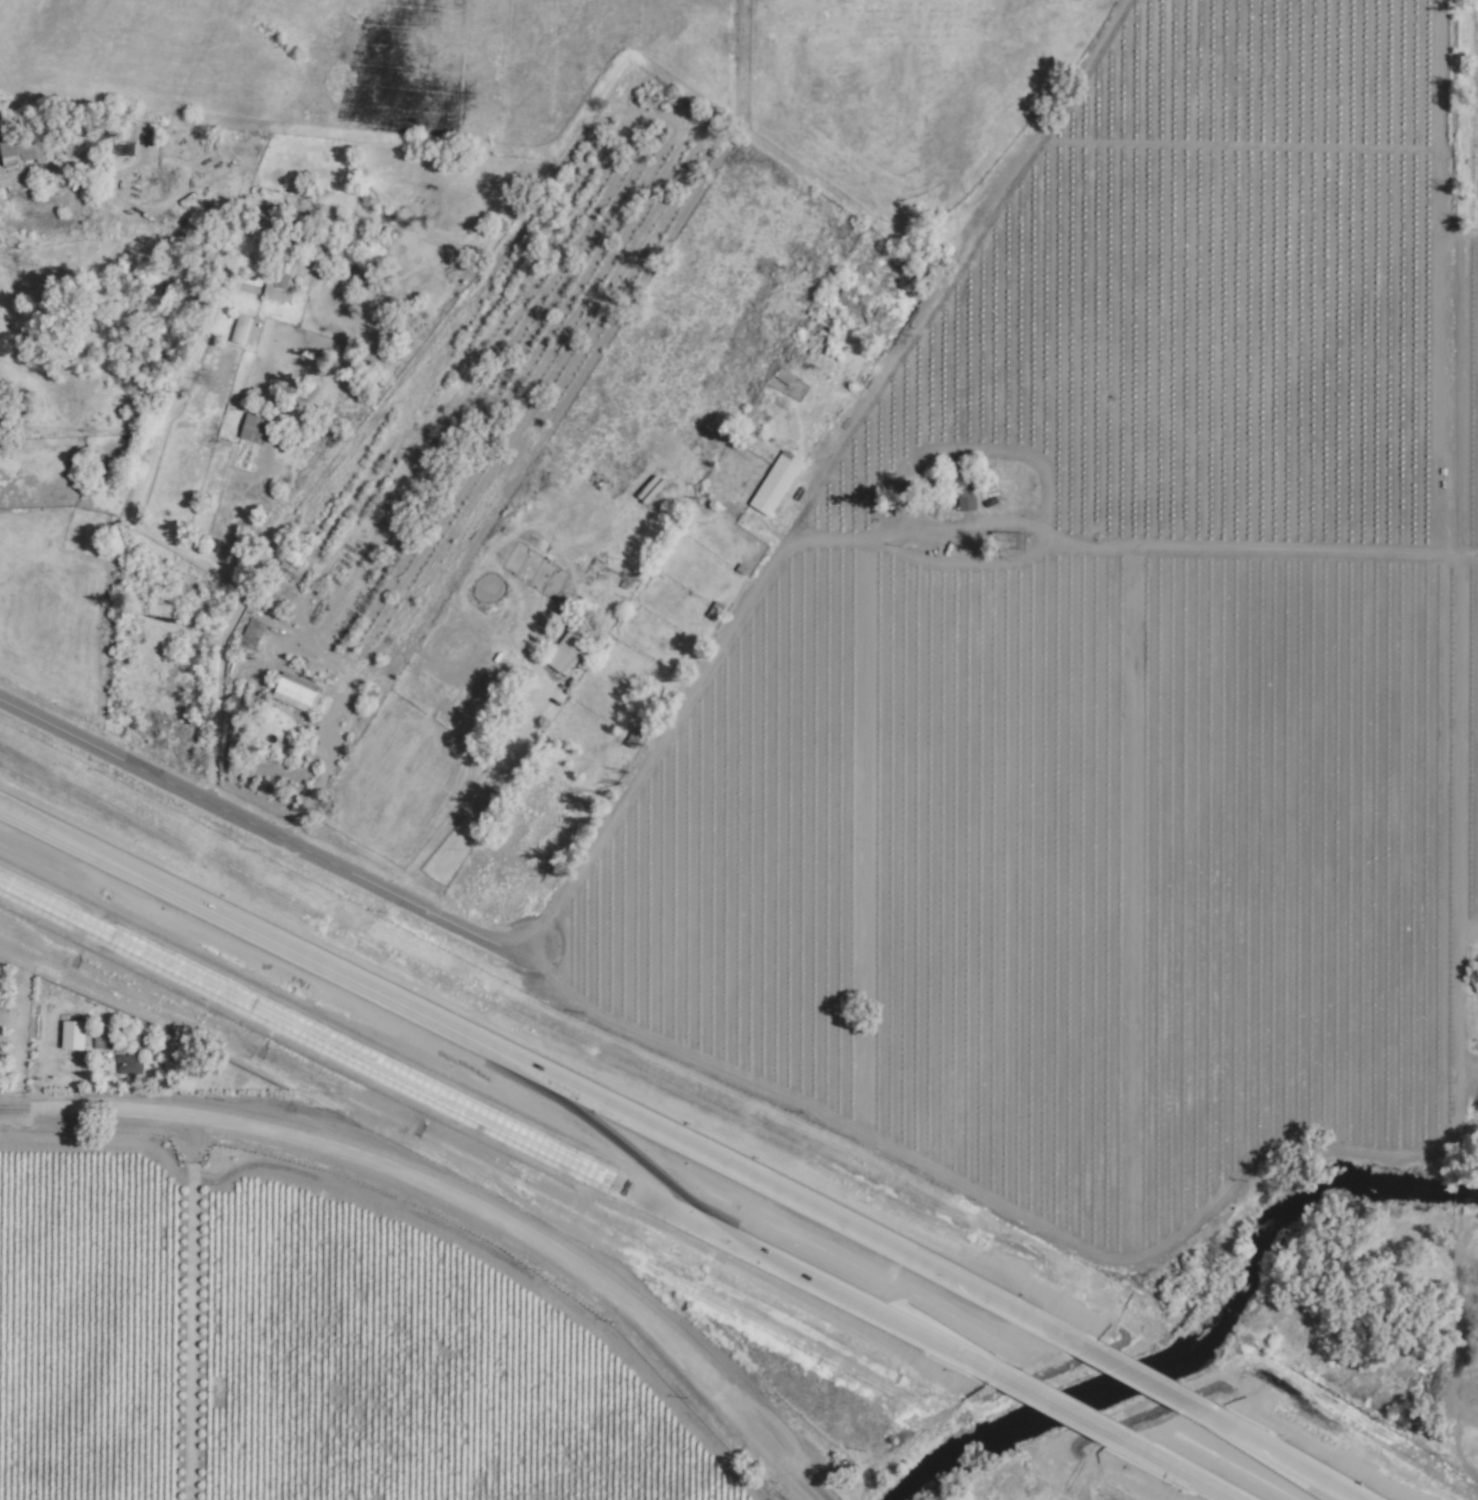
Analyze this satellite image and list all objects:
crop: (311, 81)
crop: (923, 88)
building: (125, 139)
crop: (761, 143)
building: (20, 151)
power tower: (20, 260)
building: (278, 280)
crop: (978, 311)
building: (241, 329)
crop: (1125, 403)
building: (252, 428)
building: (775, 483)
crop: (1477, 487)
building: (964, 495)
crop: (1367, 578)
crop: (1454, 588)
building: (249, 637)
building: (567, 650)
road: (706, 681)
building: (293, 693)
road: (331, 746)
road: (471, 794)
road: (262, 829)
crop: (1084, 880)
road: (132, 943)
building: (71, 1035)
building: (103, 1040)
building: (129, 1062)
road: (544, 1075)
road: (213, 1119)
road: (636, 1193)
road: (543, 1246)
road: (192, 1308)
road: (1140, 1377)
road: (1055, 1408)
road: (737, 1418)
road: (1275, 1454)
road: (1166, 1467)

